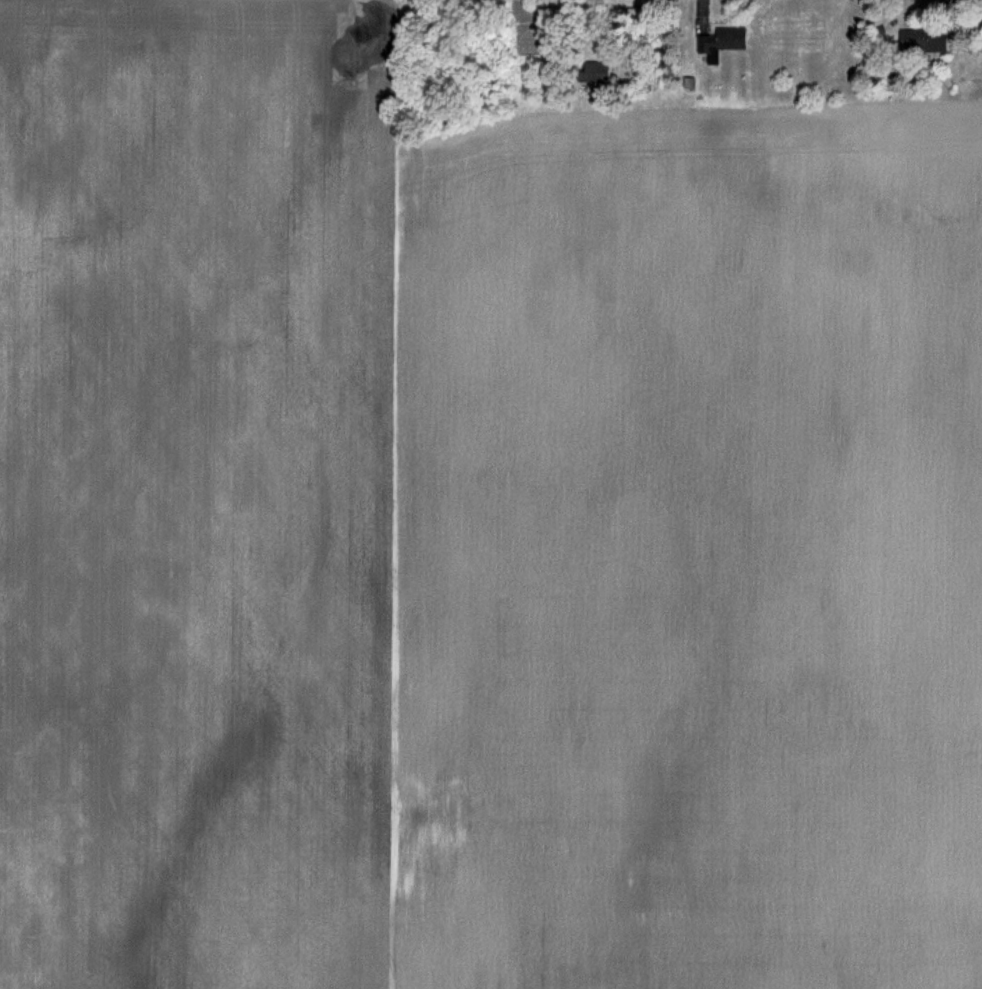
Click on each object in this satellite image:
building: (919, 39)
building: (718, 42)
building: (591, 71)

